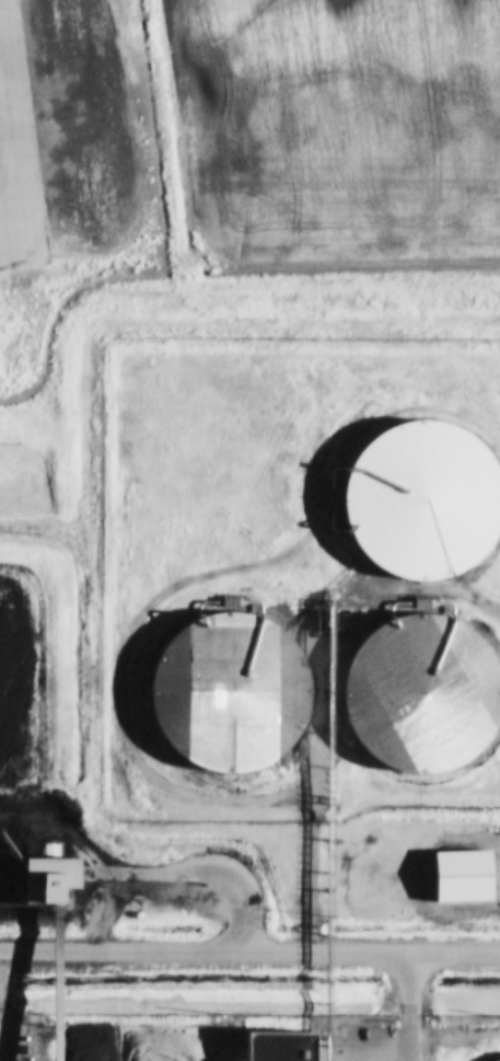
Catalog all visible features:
crop: (362, 140)
building: (415, 501)
storage tank: (415, 501)
road: (449, 592)
building: (222, 695)
storage tank: (222, 695)
building: (415, 695)
storage tank: (415, 695)
road: (315, 800)
building: (463, 874)
building: (53, 878)
road: (249, 949)
road: (408, 1006)
building: (278, 1046)

